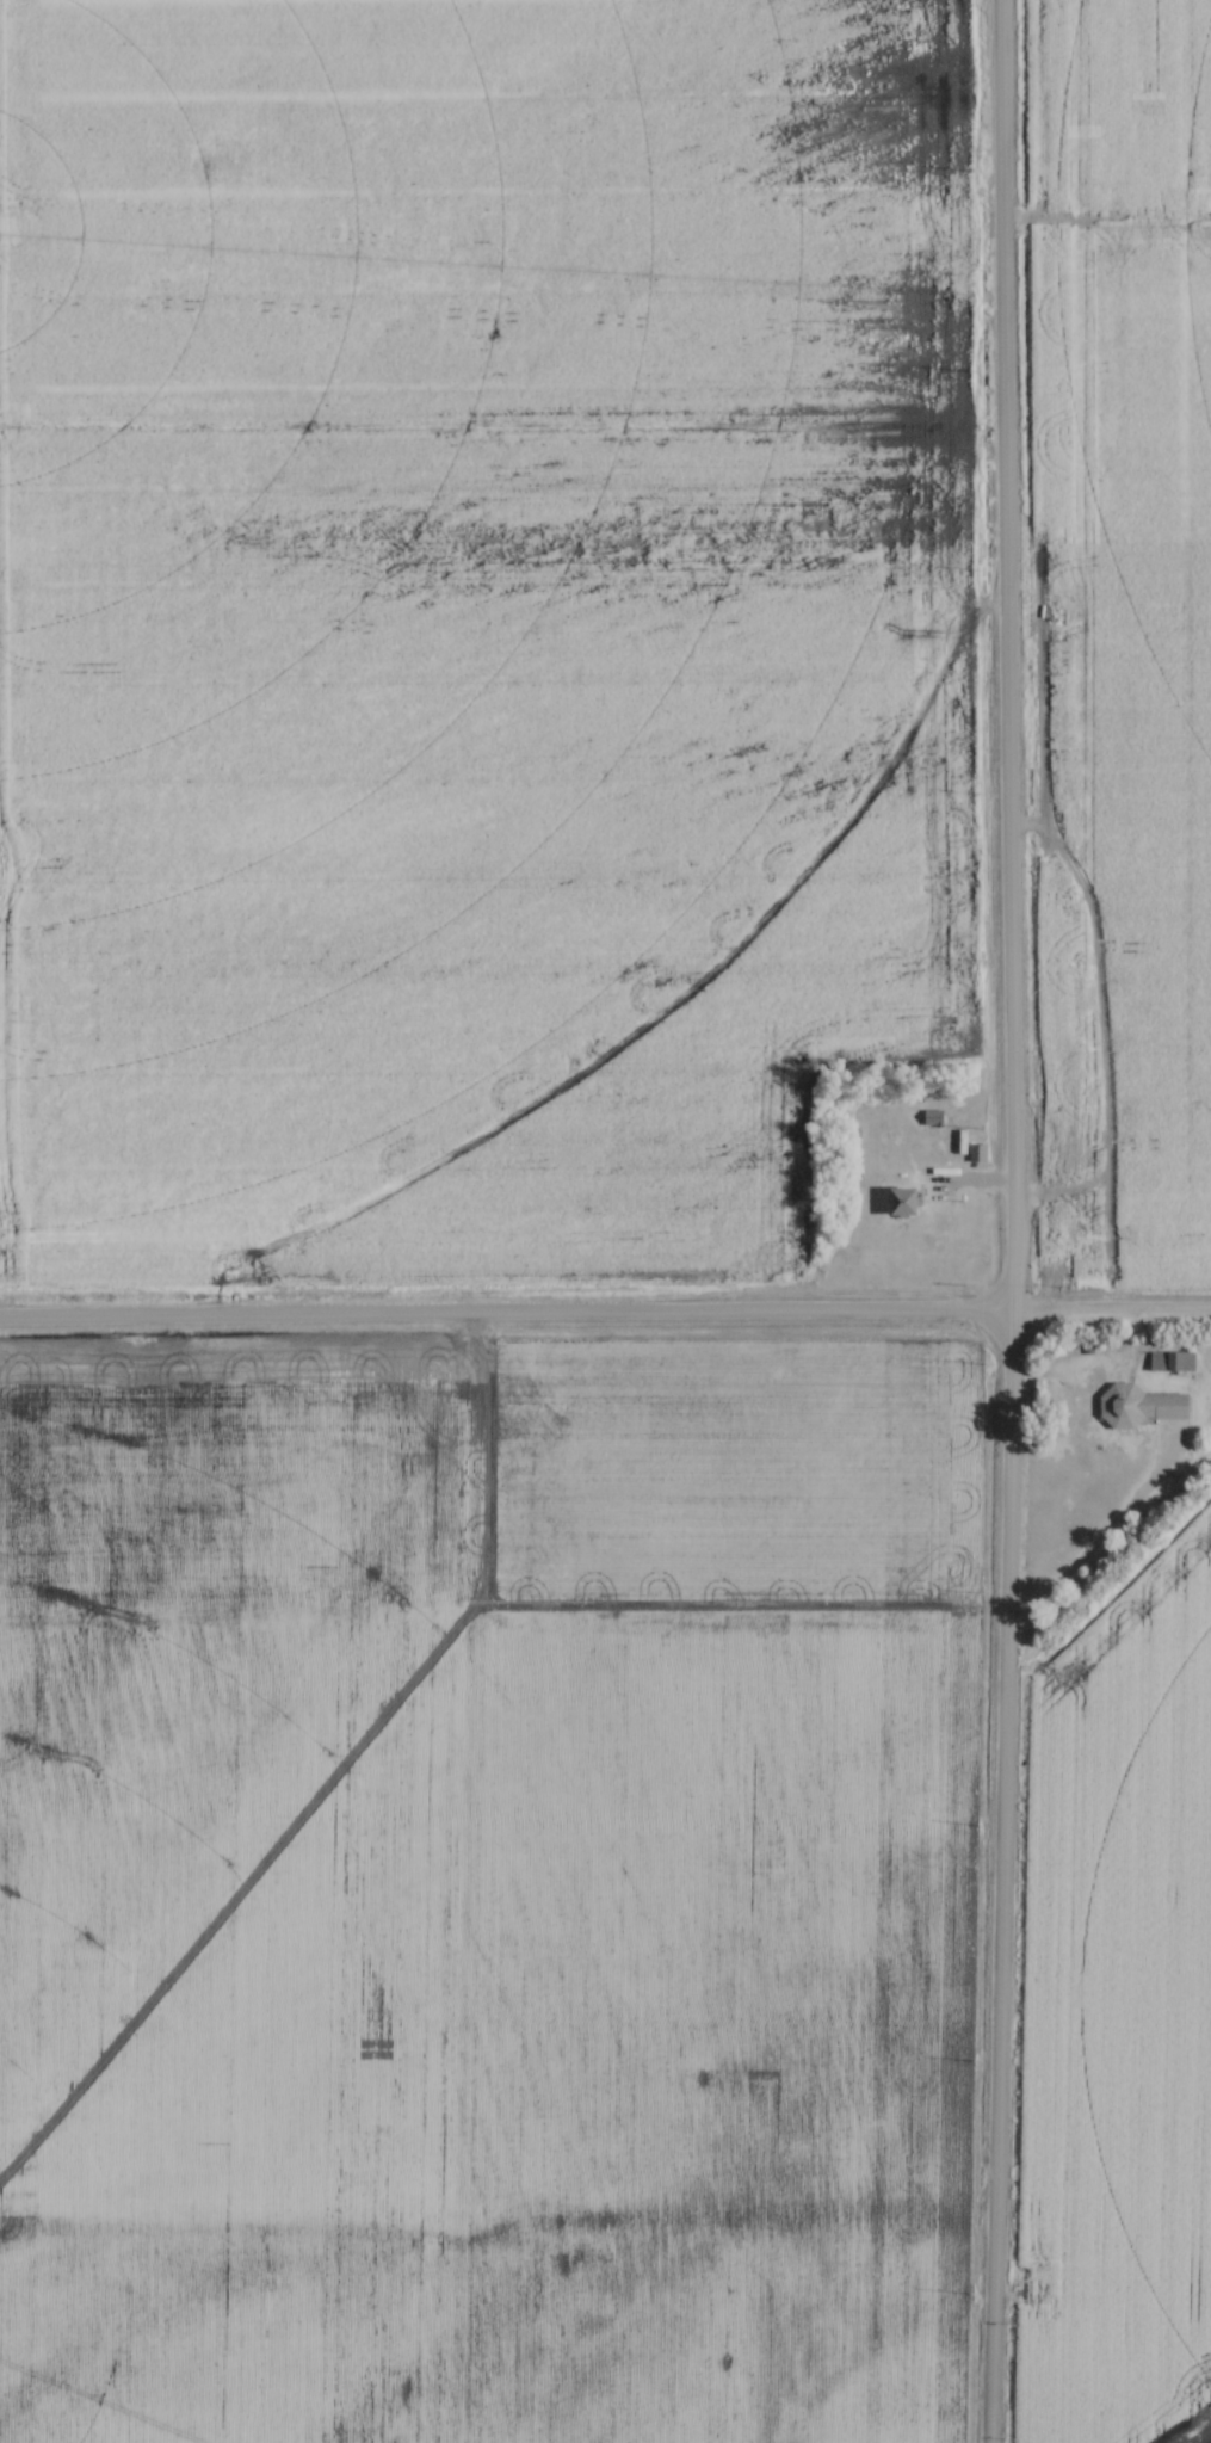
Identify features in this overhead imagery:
building: (933, 1118)
building: (978, 1153)
building: (906, 1202)
road: (1009, 1221)
road: (605, 1313)
building: (1173, 1362)
building: (1144, 1407)
road: (1098, 1542)

